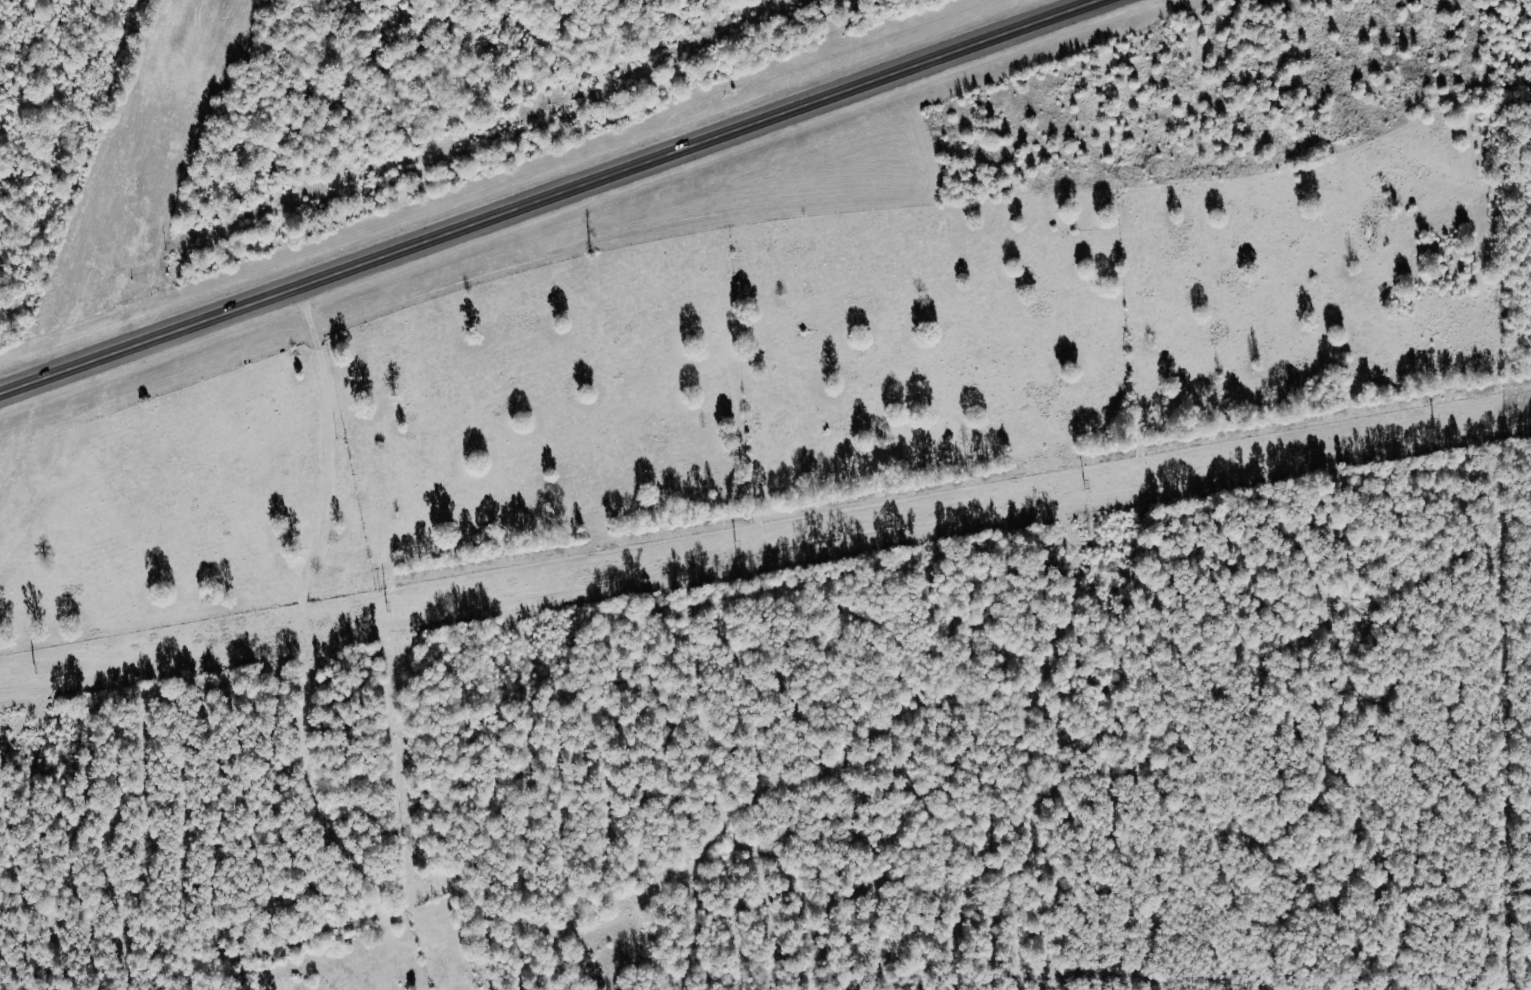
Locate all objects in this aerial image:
road: (549, 196)
power tower: (1436, 424)
power tower: (1088, 485)
power tower: (739, 546)
power tower: (389, 607)
power tower: (36, 671)

